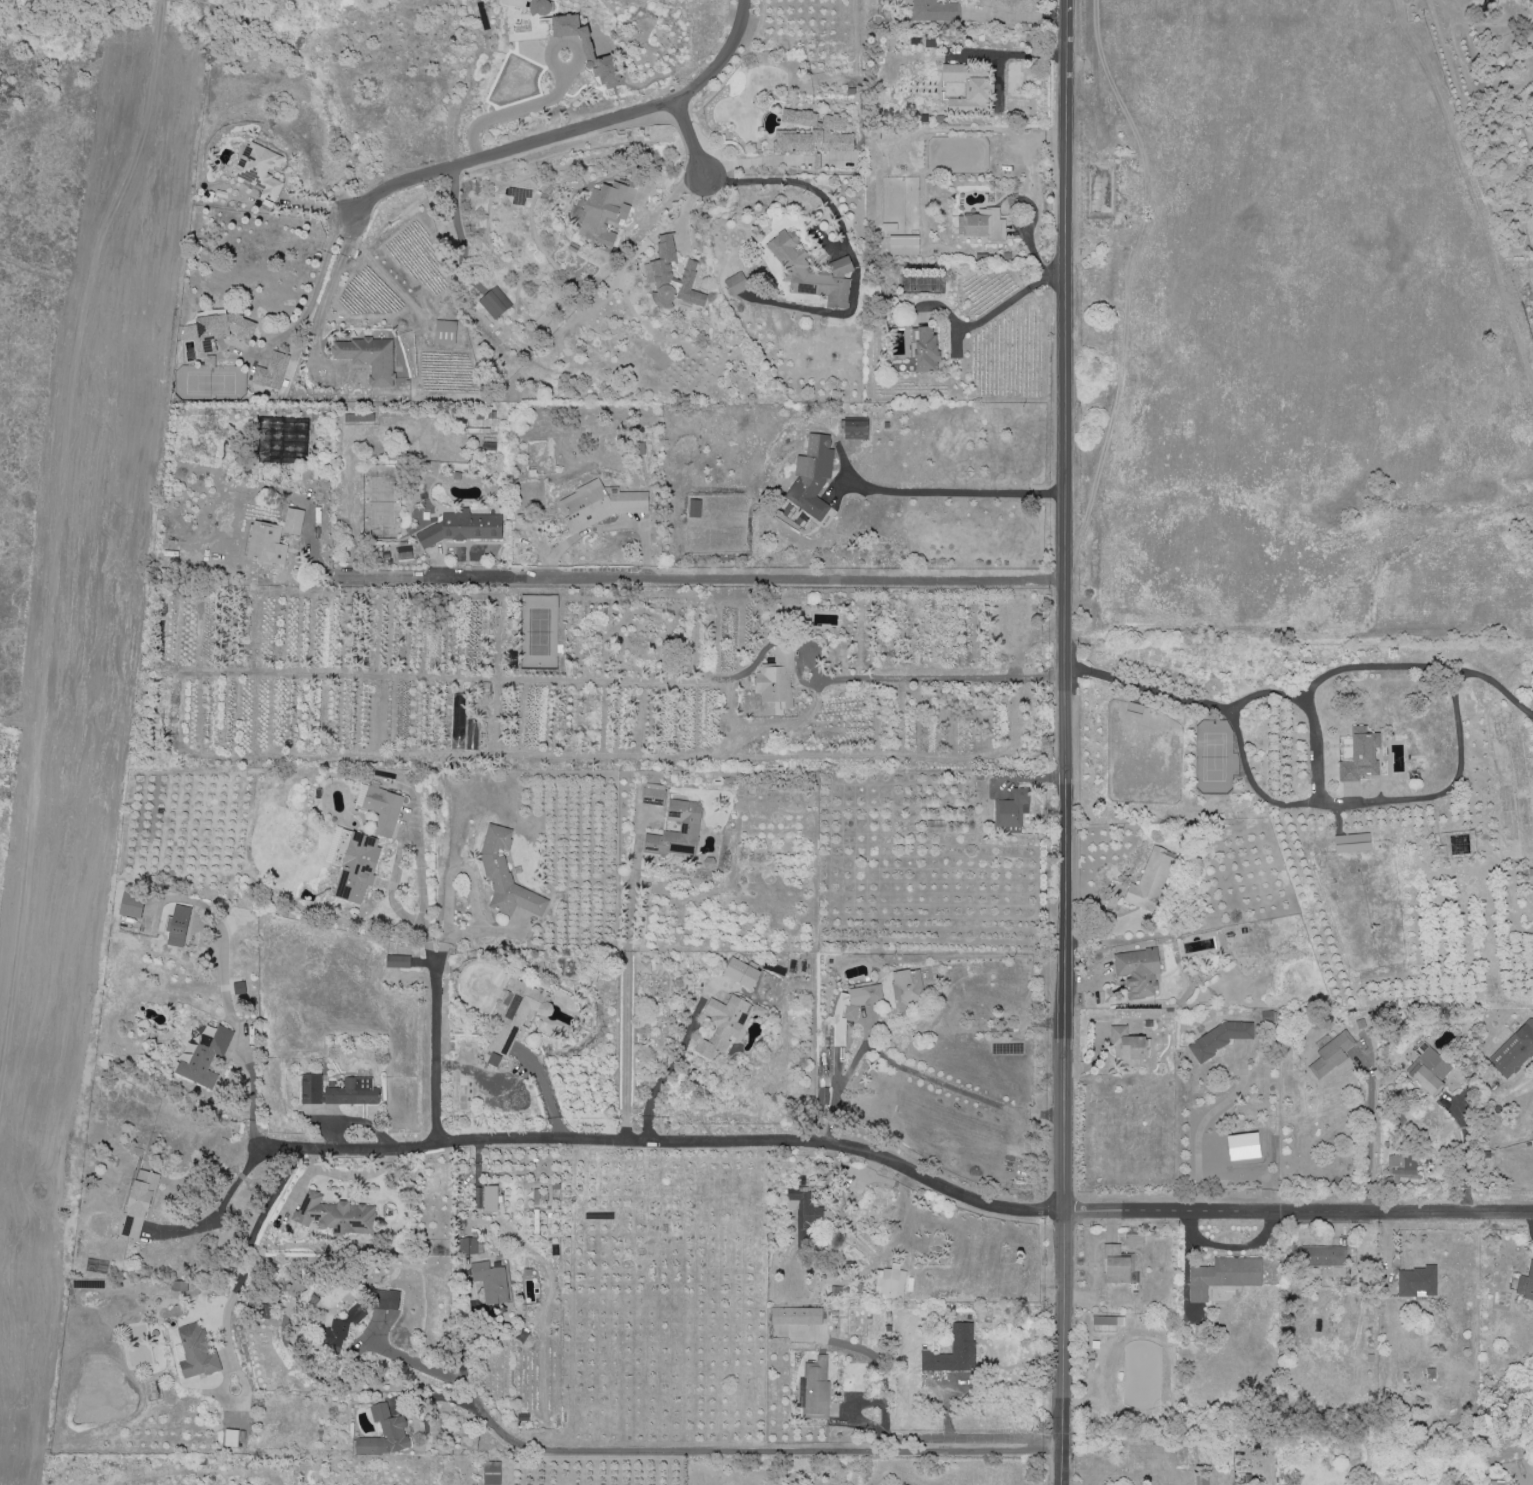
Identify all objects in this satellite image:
building: (935, 12)
building: (588, 49)
building: (970, 89)
road: (556, 96)
building: (811, 133)
road: (569, 135)
building: (260, 170)
road: (829, 207)
building: (604, 213)
building: (985, 226)
building: (904, 246)
building: (813, 272)
building: (672, 278)
building: (736, 284)
road: (316, 289)
road: (325, 296)
building: (495, 303)
road: (1009, 303)
building: (217, 331)
building: (445, 333)
building: (369, 359)
building: (272, 372)
building: (856, 430)
building: (282, 440)
building: (812, 476)
road: (957, 493)
building: (599, 505)
building: (695, 508)
building: (293, 521)
road: (59, 527)
building: (462, 528)
building: (267, 543)
road: (702, 576)
road: (1418, 668)
road: (914, 678)
building: (776, 682)
road: (1299, 700)
building: (1135, 710)
road: (1065, 742)
building: (1361, 755)
building: (1516, 760)
building: (654, 794)
road: (1440, 794)
building: (380, 808)
building: (1012, 809)
building: (689, 826)
building: (1353, 843)
building: (358, 867)
building: (505, 875)
building: (1150, 881)
road: (422, 895)
building: (132, 905)
building: (178, 927)
building: (398, 962)
building: (645, 967)
building: (1138, 972)
building: (741, 973)
road: (625, 986)
building: (907, 988)
road: (225, 993)
building: (852, 1008)
building: (516, 1017)
building: (723, 1025)
building: (1128, 1047)
building: (1514, 1051)
road: (433, 1053)
building: (1331, 1055)
building: (203, 1056)
road: (518, 1071)
building: (1429, 1071)
building: (338, 1091)
building: (465, 1091)
building: (823, 1096)
road: (1206, 1123)
road: (1370, 1128)
road: (668, 1139)
road: (1467, 1155)
building: (1403, 1164)
building: (491, 1198)
building: (138, 1204)
road: (219, 1206)
building: (805, 1212)
road: (1298, 1213)
building: (336, 1216)
building: (1133, 1240)
road: (252, 1242)
building: (469, 1246)
building: (1329, 1259)
building: (1117, 1265)
building: (1224, 1276)
building: (491, 1282)
building: (1417, 1282)
building: (890, 1284)
building: (1525, 1285)
building: (180, 1286)
building: (296, 1290)
building: (387, 1300)
building: (264, 1311)
building: (797, 1316)
building: (1108, 1321)
building: (195, 1352)
building: (954, 1352)
road: (419, 1365)
building: (816, 1387)
building: (384, 1433)
building: (230, 1438)
road: (756, 1451)
building: (491, 1474)

